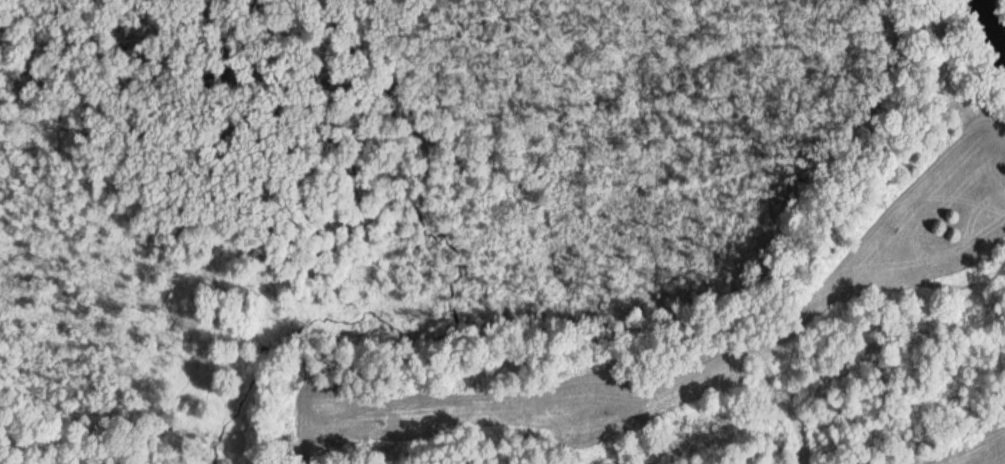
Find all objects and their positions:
river: (996, 13)

